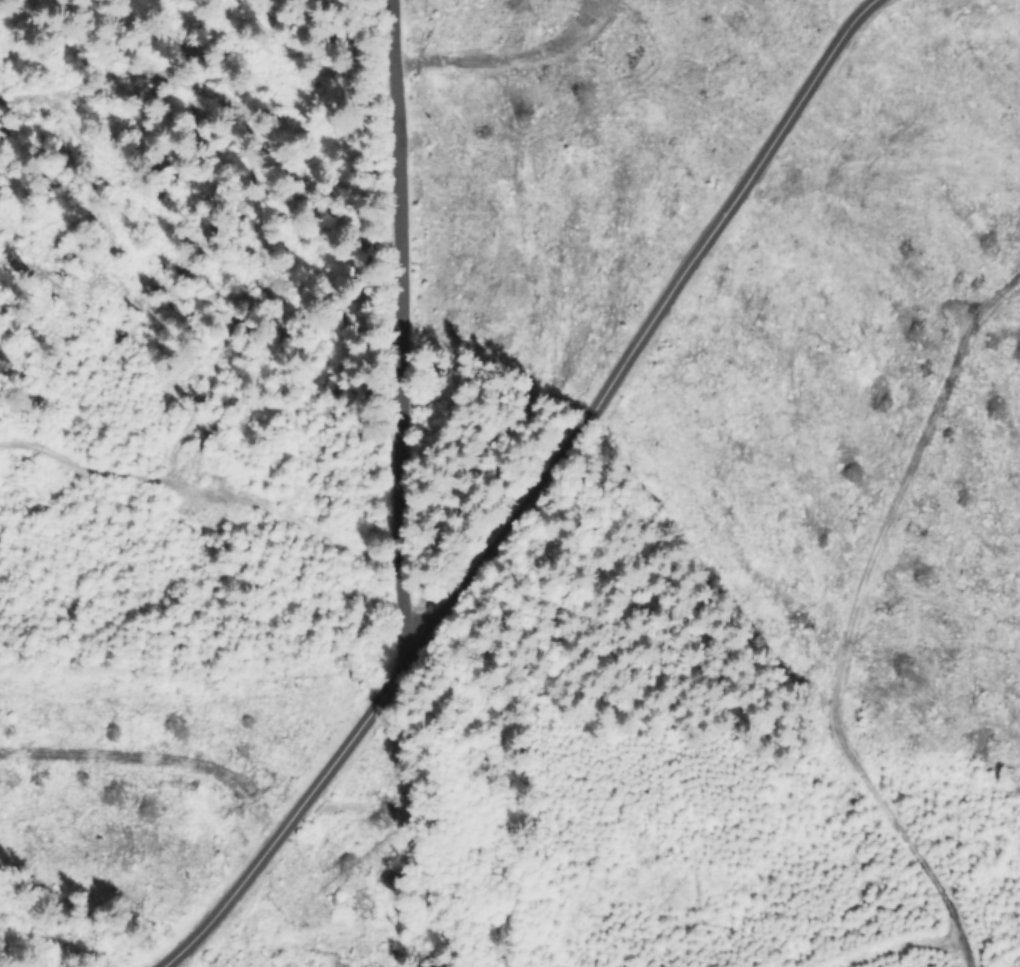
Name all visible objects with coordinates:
road: (401, 330)
road: (529, 494)

